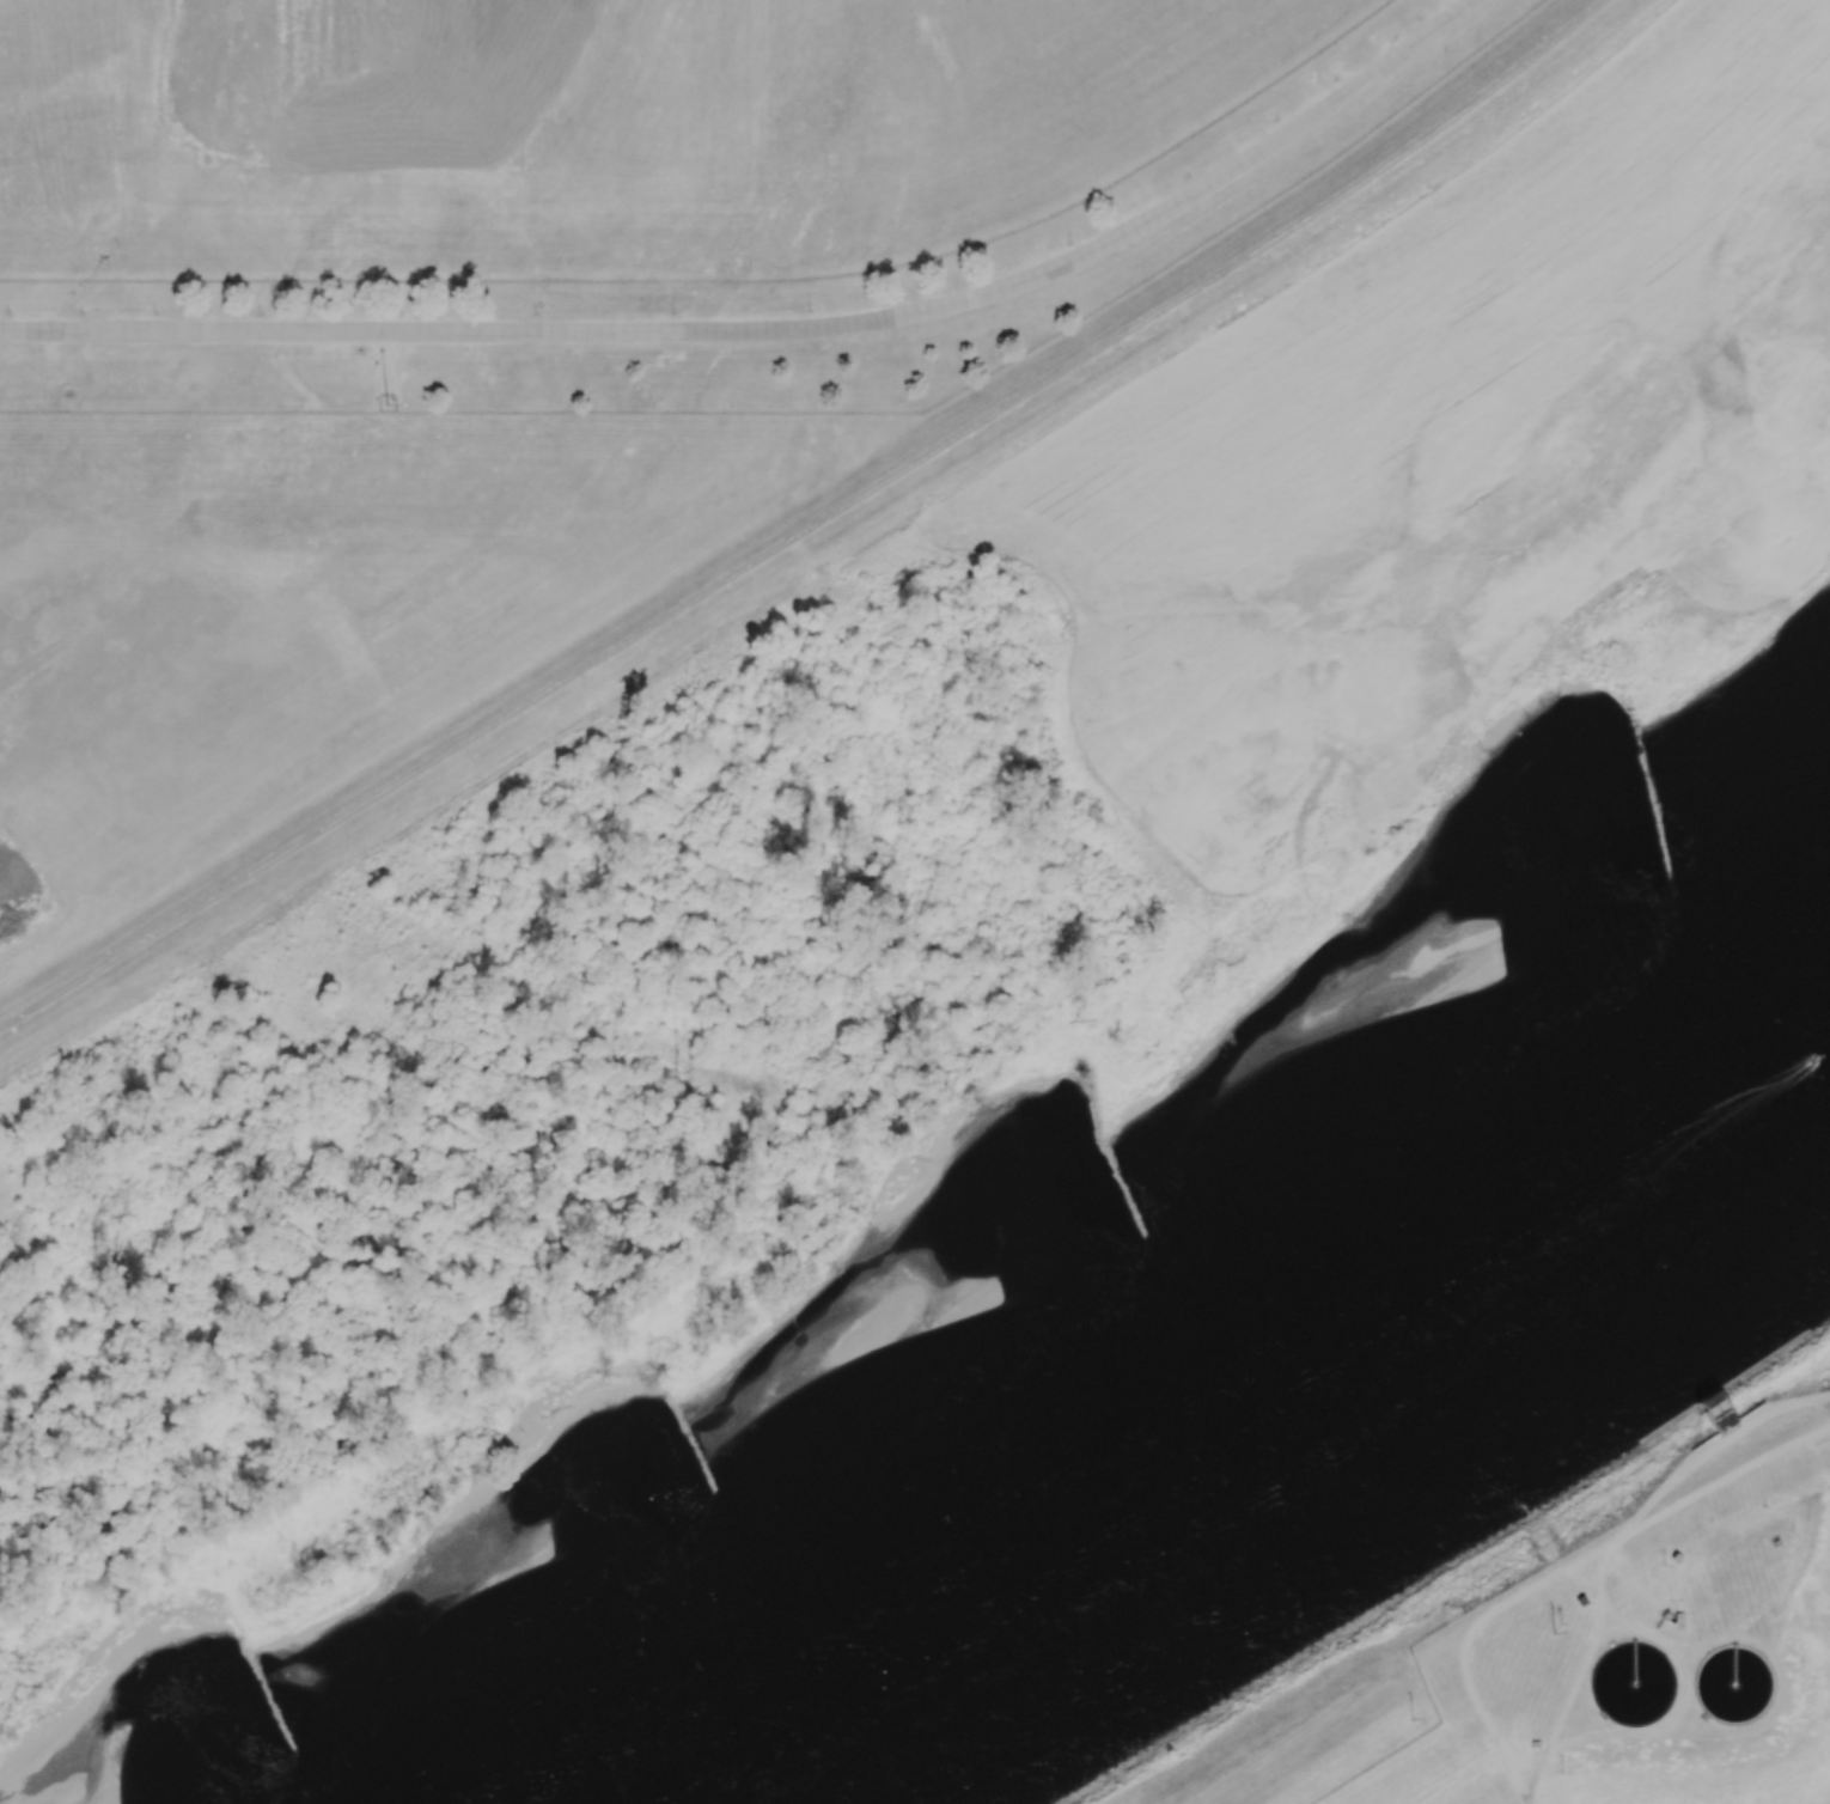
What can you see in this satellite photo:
airport: (645, 190)
road: (781, 330)
park: (1828, 1335)
river: (1227, 1392)

